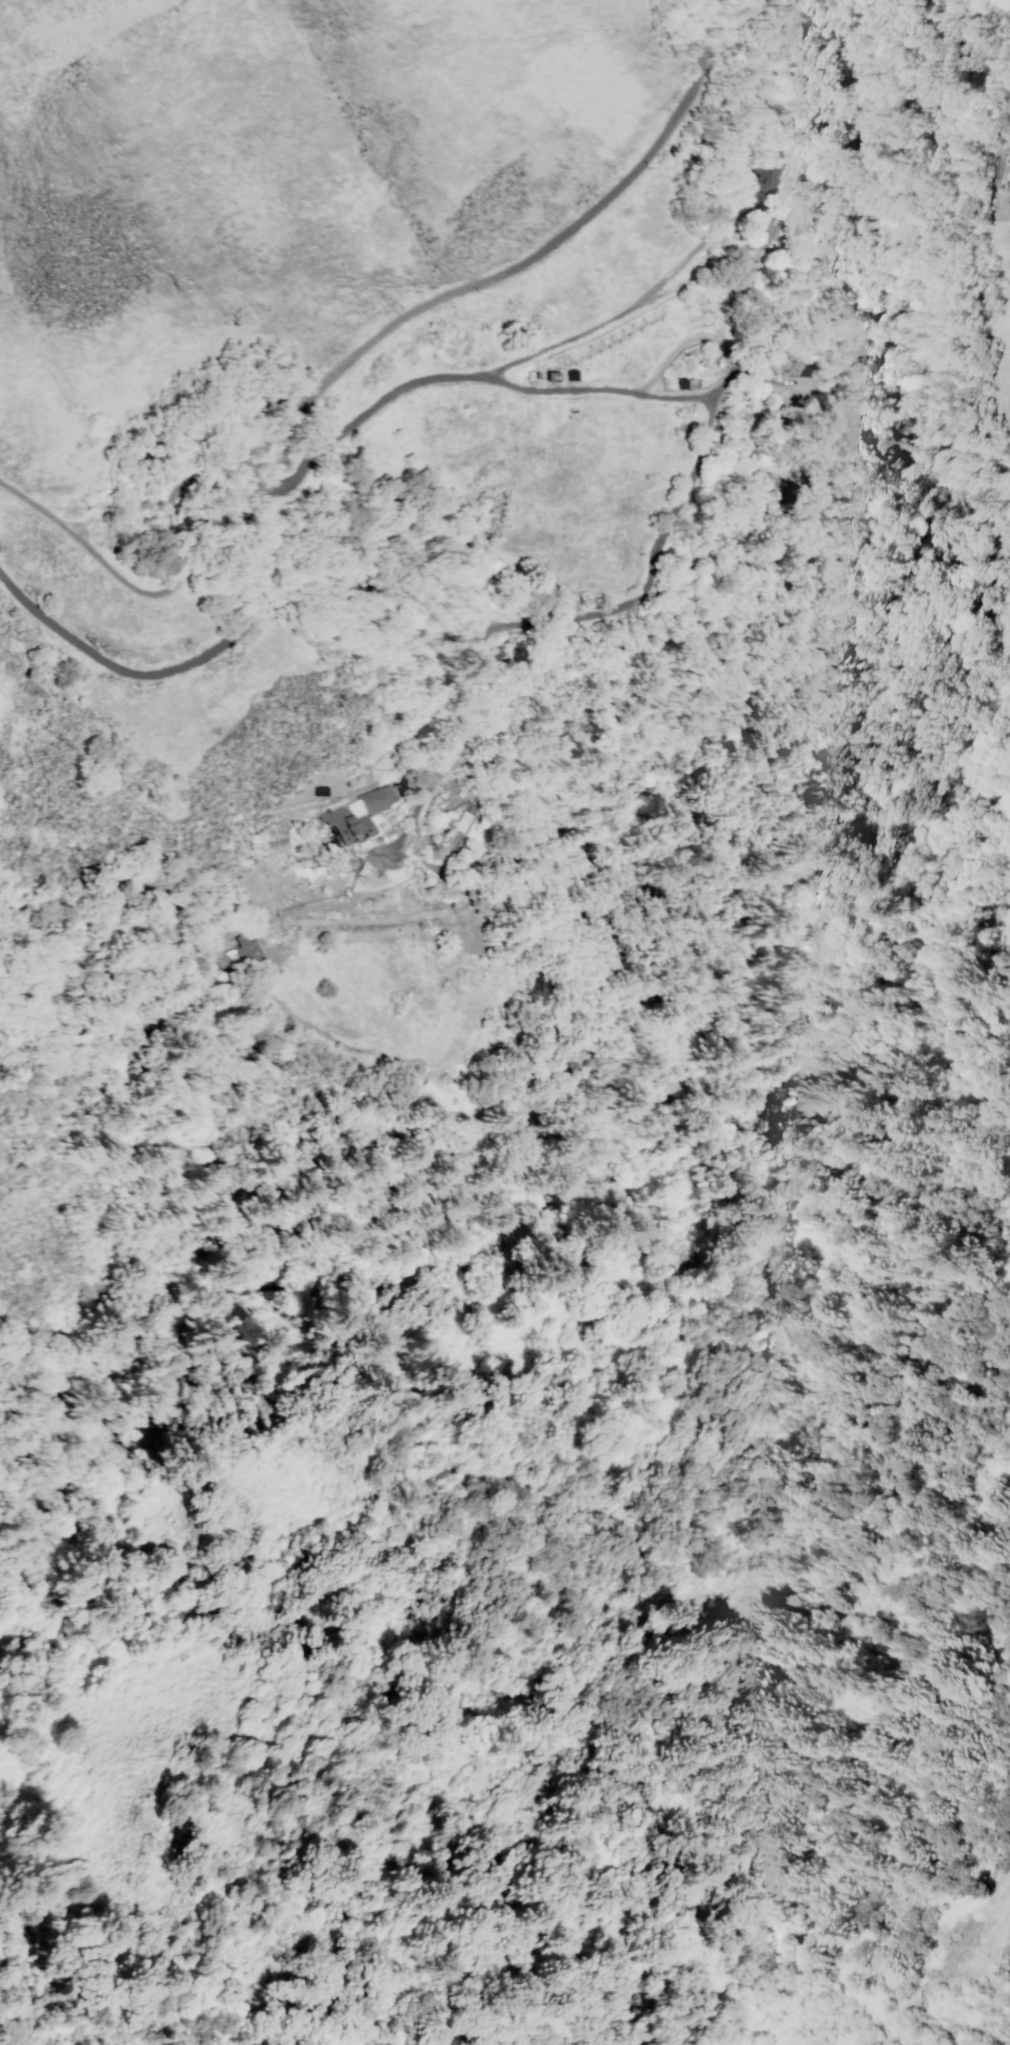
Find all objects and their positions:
road: (1003, 9)
road: (971, 67)
building: (1008, 205)
road: (525, 259)
road: (644, 307)
road: (720, 445)
road: (171, 541)
road: (183, 662)
building: (356, 818)
building: (460, 822)
building: (245, 953)

